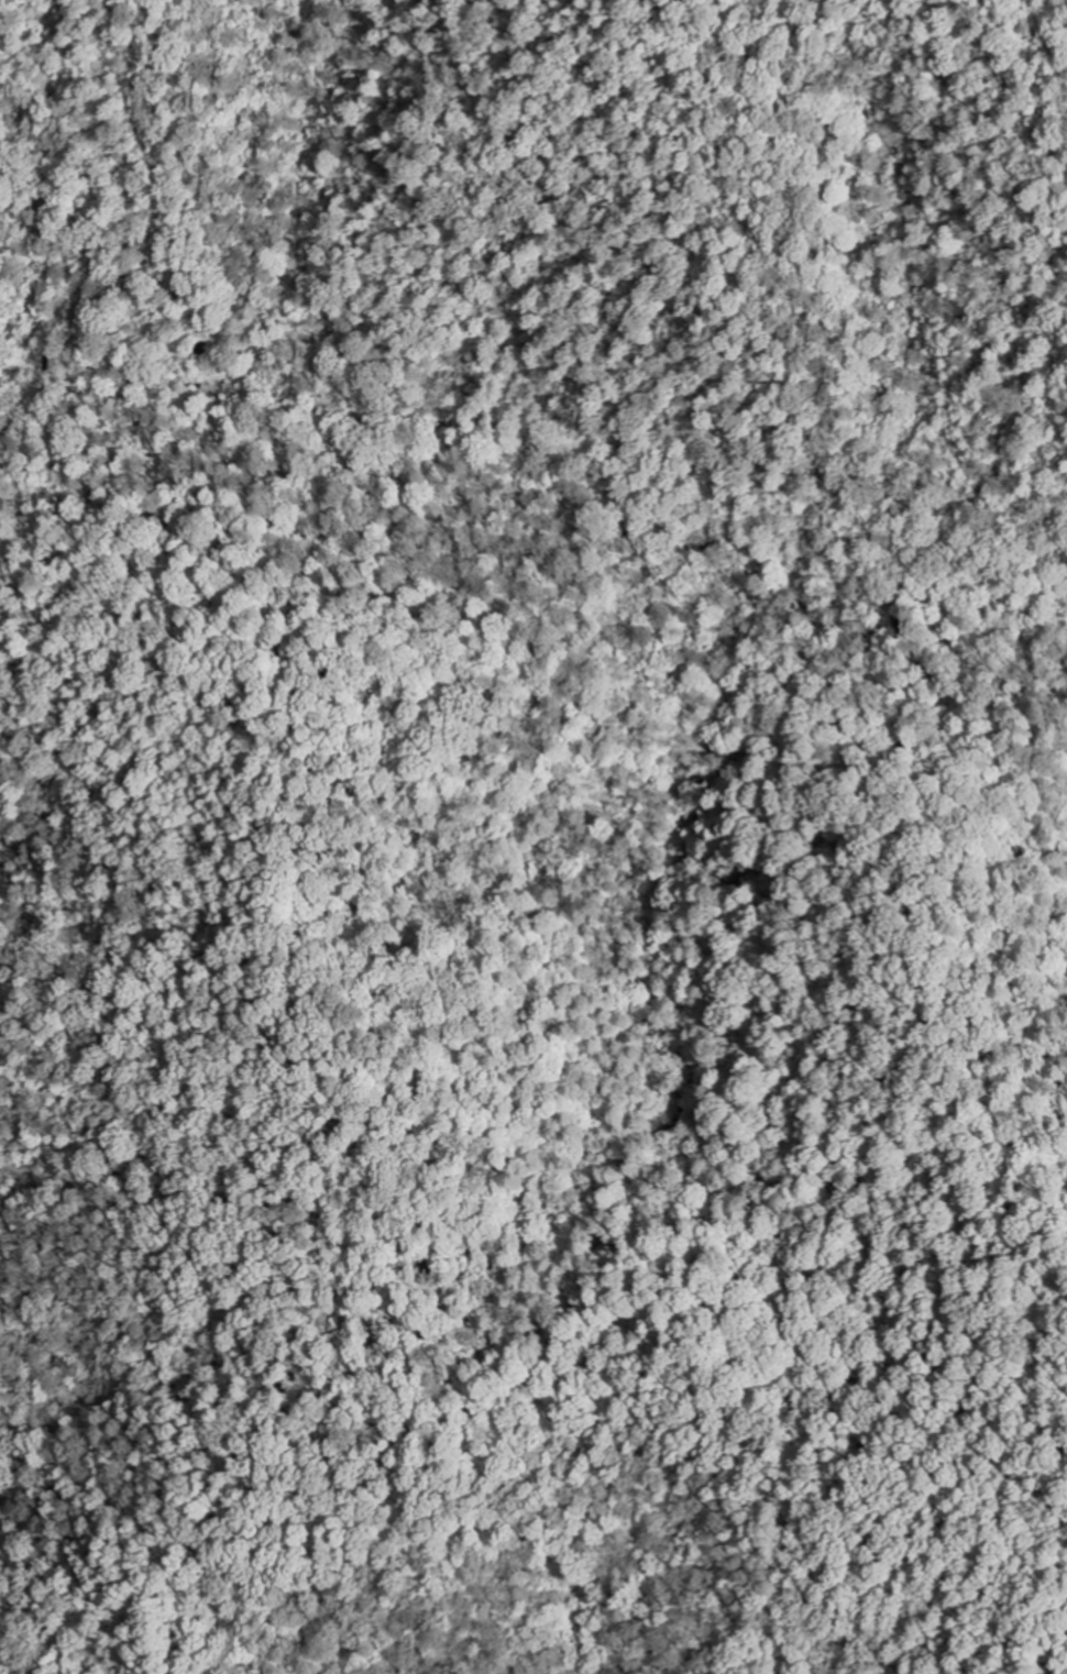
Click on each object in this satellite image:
road: (537, 436)

